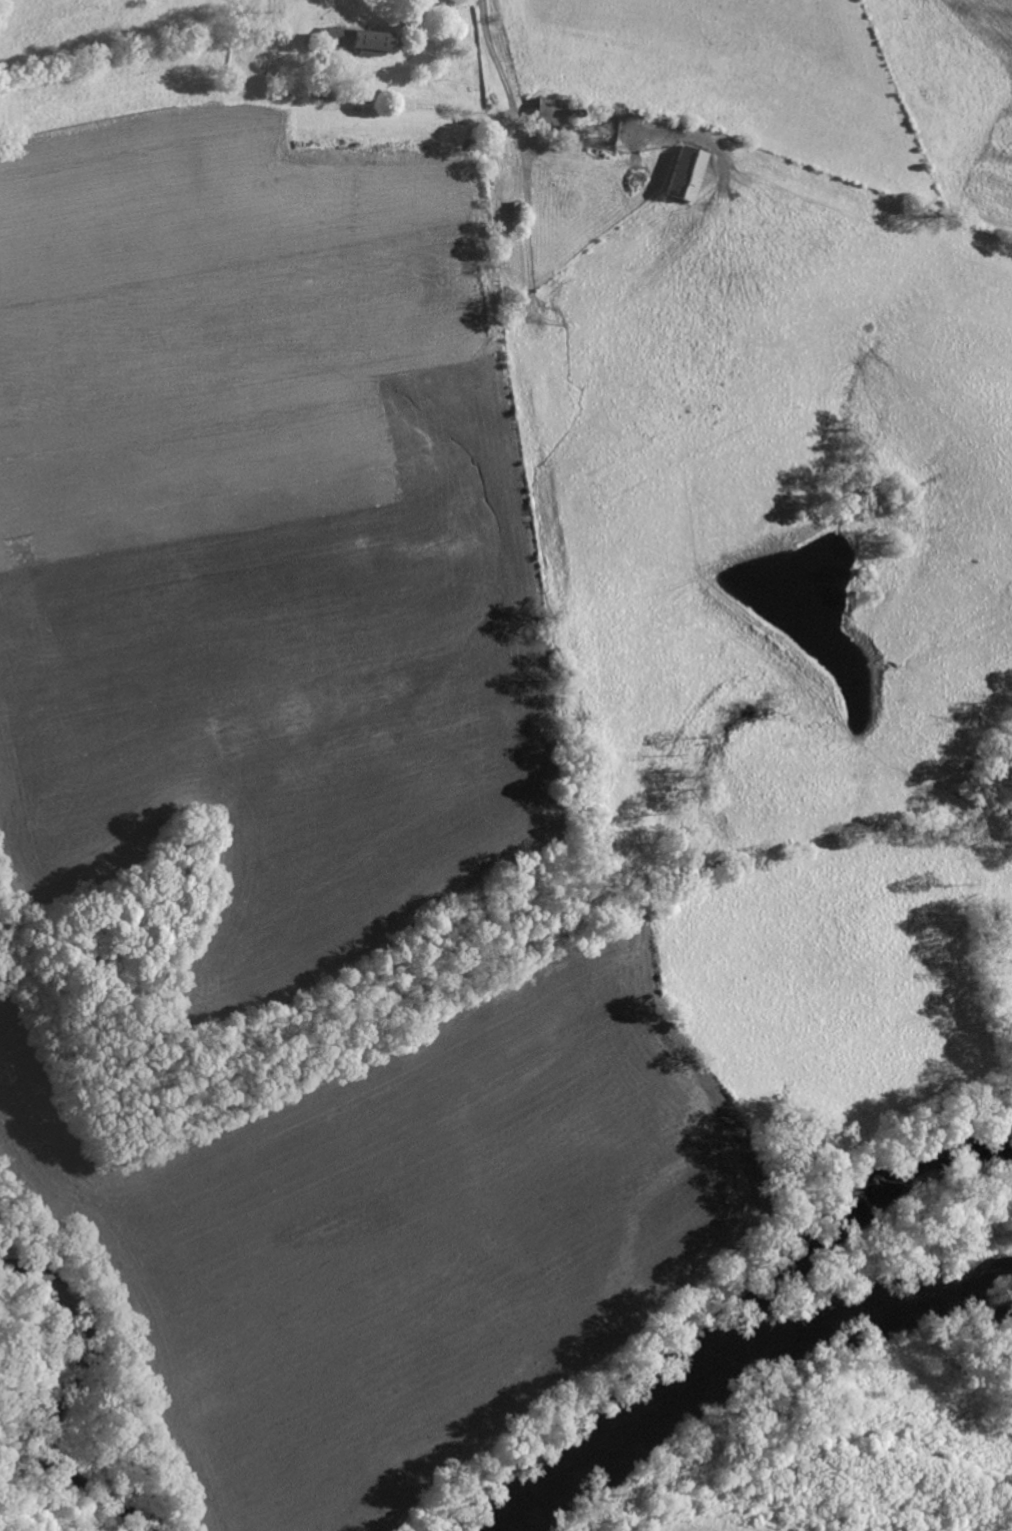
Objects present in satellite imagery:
building: (365, 43)
road: (498, 81)
building: (681, 175)
river: (731, 1358)

